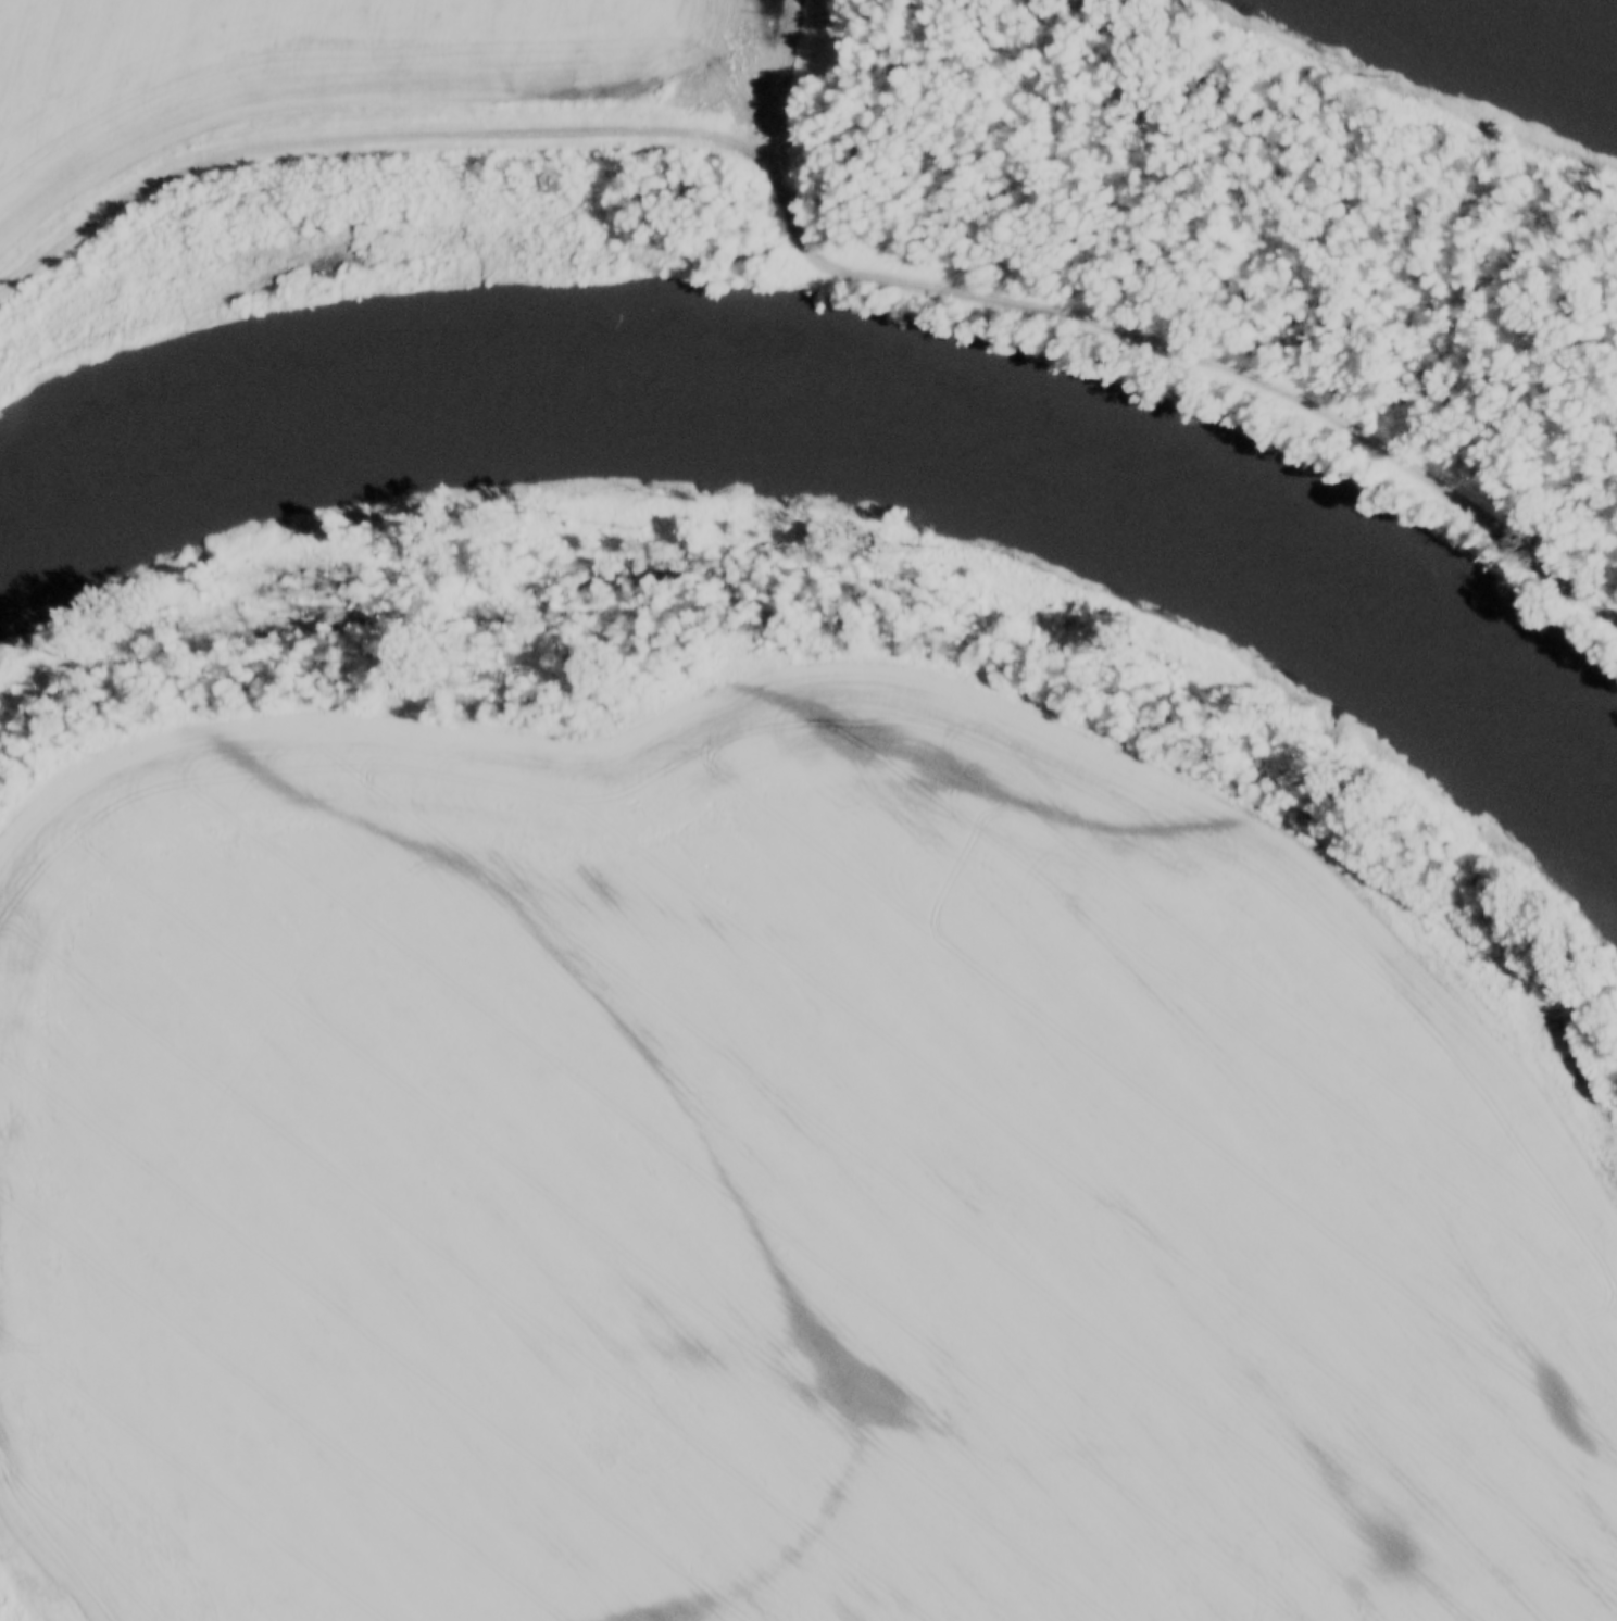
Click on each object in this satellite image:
river: (1564, 23)
road: (803, 252)
river: (870, 430)

